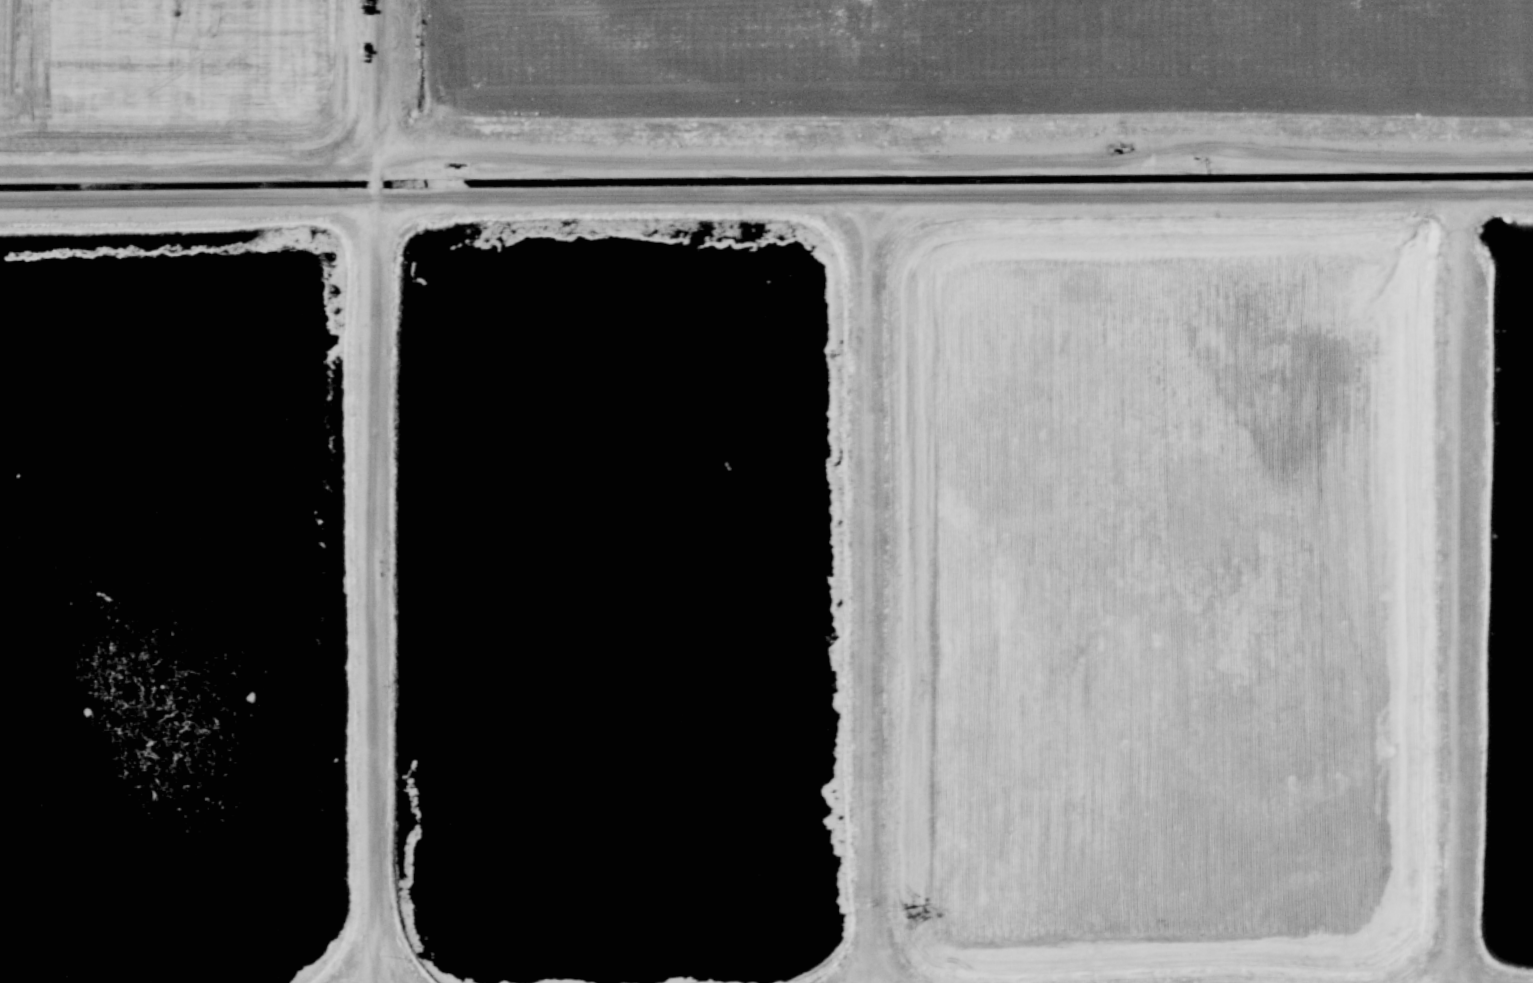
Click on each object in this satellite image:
wastewater plant: (982, 59)
wastewater plant: (172, 60)
road: (767, 160)
road: (766, 195)
road: (374, 491)
wastewater plant: (766, 491)
wastewater plant: (1515, 580)
road: (870, 588)
road: (1460, 588)
wastewater plant: (1167, 592)
wastewater plant: (618, 599)
wastewater plant: (169, 606)

